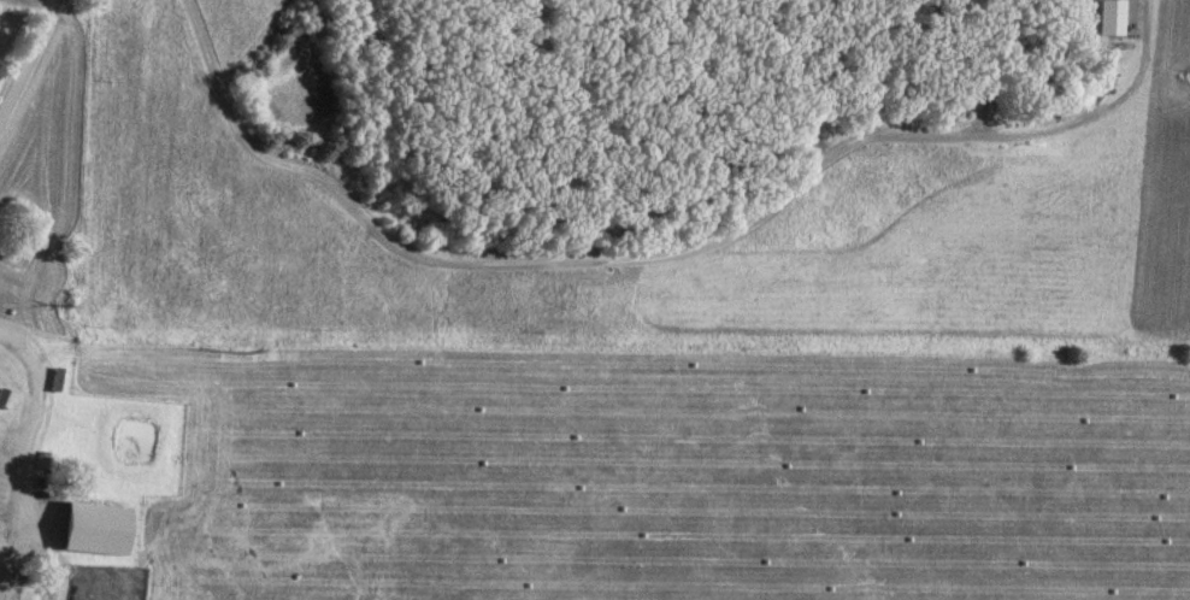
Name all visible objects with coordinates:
building: (1106, 17)
road: (26, 55)
road: (960, 67)
road: (1047, 135)
road: (543, 269)
building: (58, 381)
building: (5, 399)
road: (28, 425)
building: (43, 461)
building: (82, 530)

